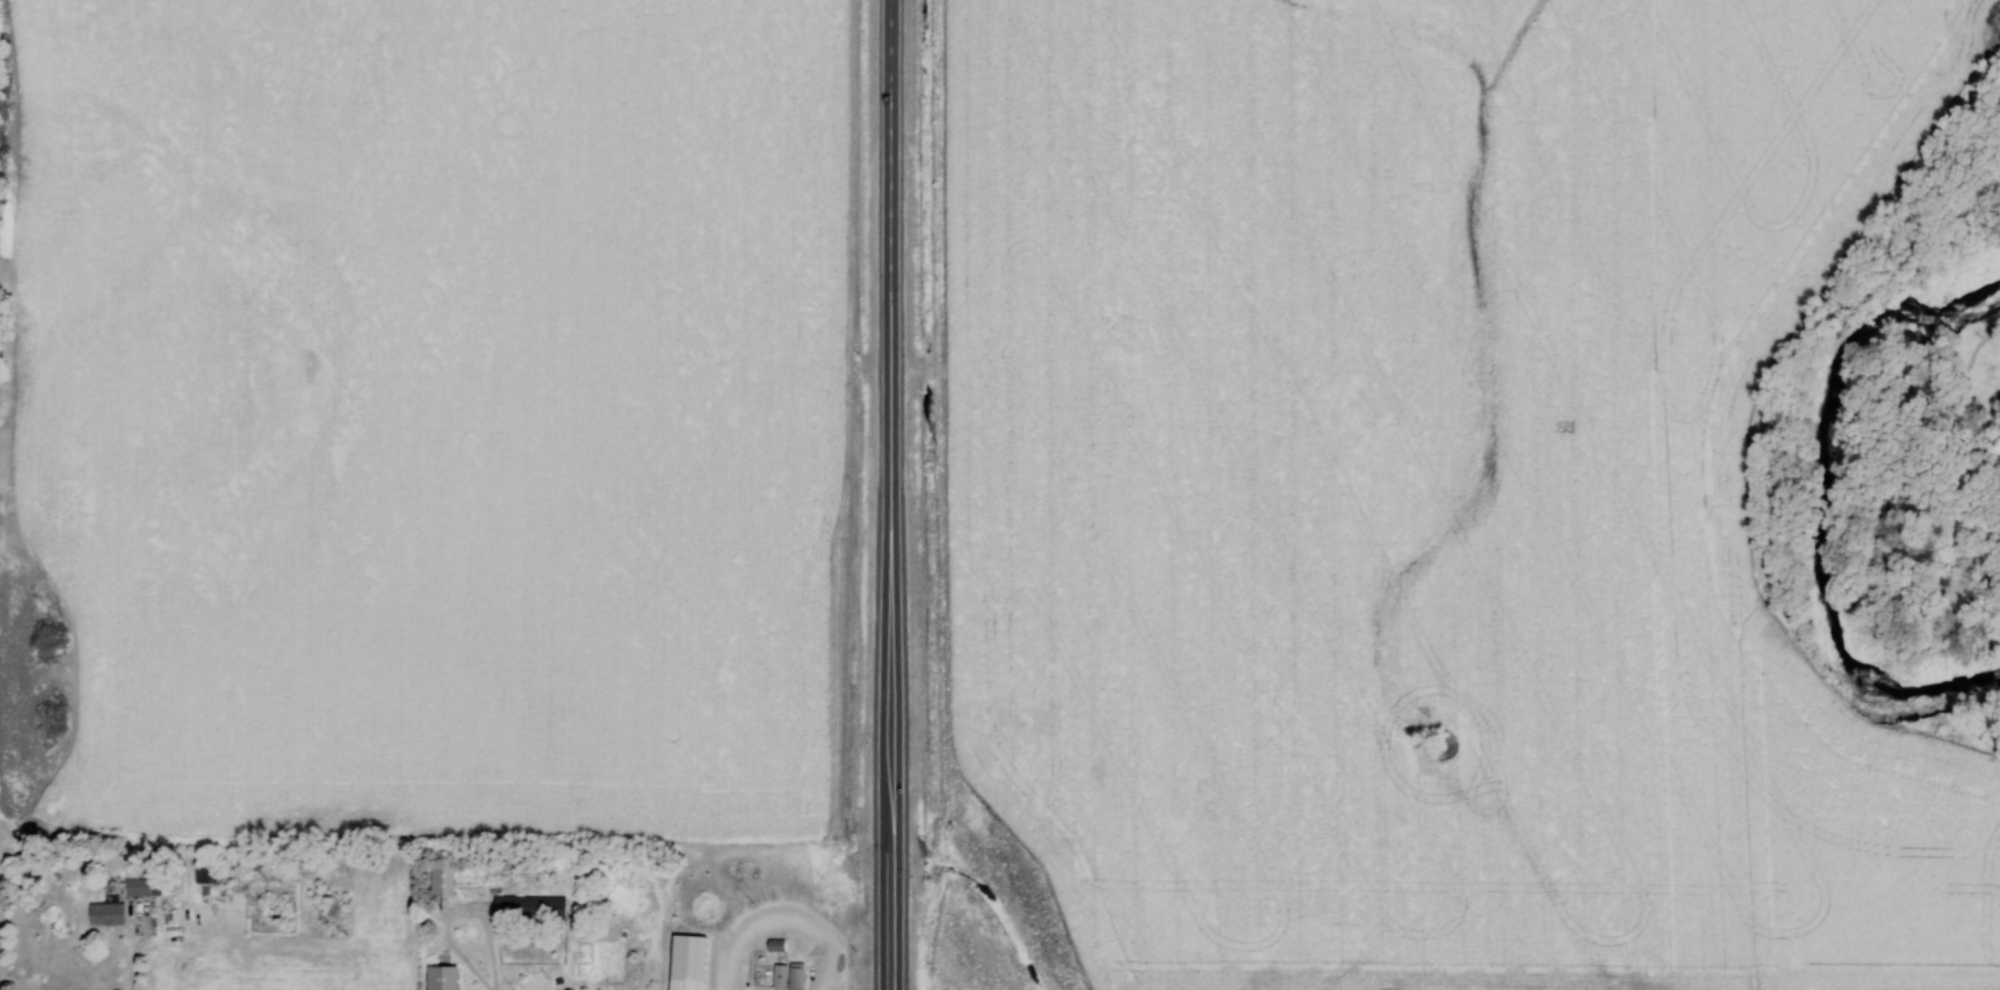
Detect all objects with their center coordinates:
road: (893, 495)
river: (1826, 506)
building: (205, 875)
building: (442, 881)
building: (142, 888)
building: (518, 908)
road: (461, 913)
building: (106, 914)
road: (789, 923)
building: (703, 950)
road: (131, 961)
building: (788, 977)
building: (442, 979)

